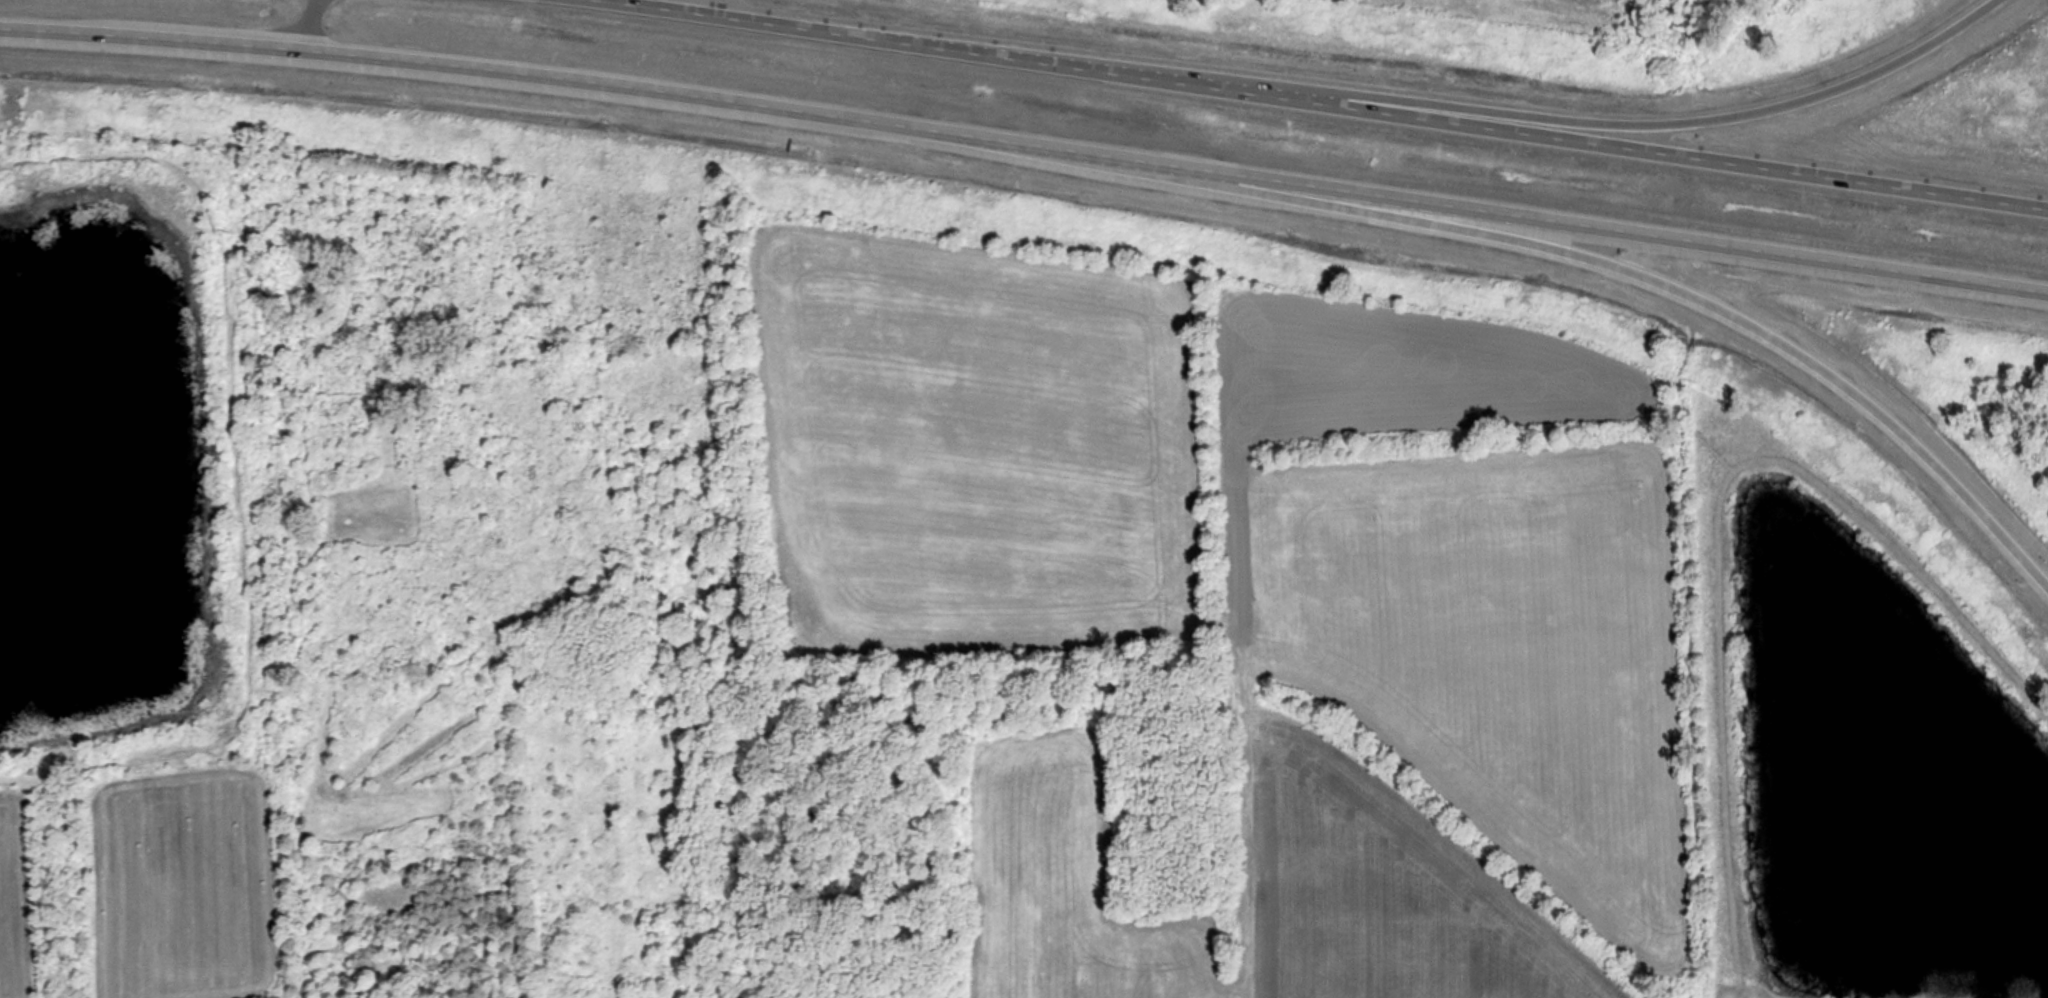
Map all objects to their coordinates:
road: (313, 25)
road: (1311, 104)
road: (1700, 120)
road: (1025, 146)
road: (1654, 287)

